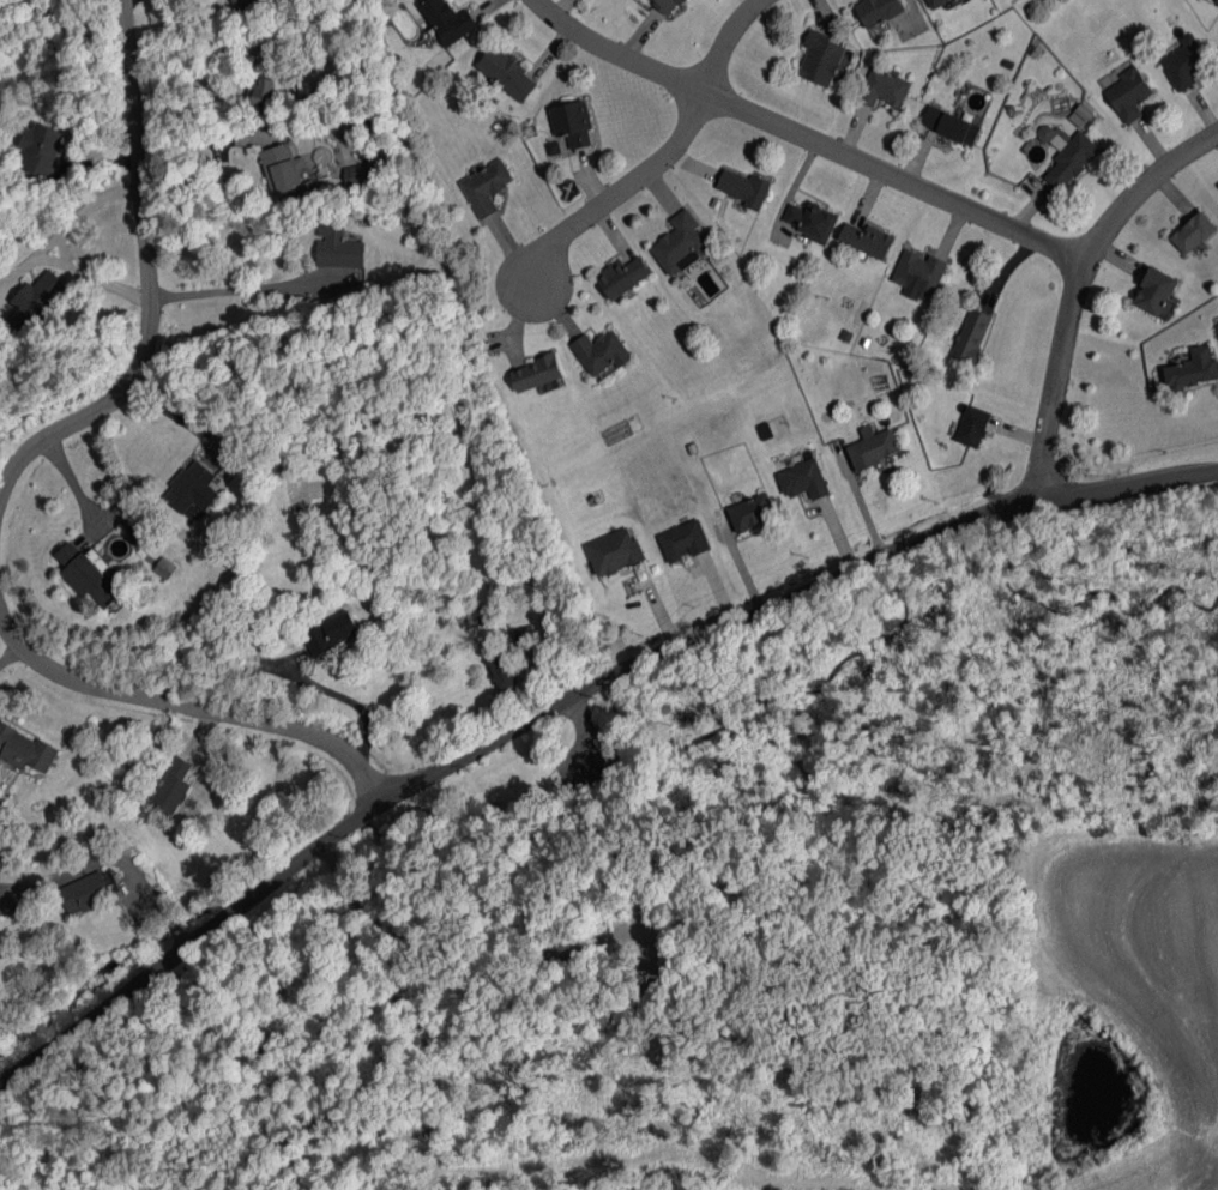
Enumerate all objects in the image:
building: (1216, 1)
building: (936, 2)
building: (668, 5)
building: (248, 6)
building: (879, 11)
building: (448, 20)
building: (821, 58)
building: (1184, 62)
building: (507, 73)
road: (187, 80)
building: (884, 87)
building: (261, 92)
building: (1128, 93)
building: (1080, 115)
building: (572, 122)
building: (951, 125)
road: (810, 137)
road: (199, 141)
building: (41, 149)
building: (1067, 155)
road: (653, 165)
building: (283, 171)
building: (363, 174)
building: (487, 187)
building: (744, 187)
building: (810, 221)
building: (1193, 232)
building: (868, 240)
building: (680, 243)
road: (76, 244)
building: (338, 247)
building: (918, 273)
building: (622, 276)
road: (149, 278)
road: (233, 291)
building: (1154, 291)
road: (1079, 292)
building: (35, 302)
building: (971, 336)
building: (601, 351)
building: (1193, 368)
building: (538, 372)
building: (973, 425)
building: (873, 447)
building: (803, 479)
building: (193, 488)
building: (753, 512)
building: (685, 540)
building: (614, 551)
building: (165, 567)
building: (89, 573)
building: (331, 633)
building: (500, 669)
road: (569, 697)
road: (349, 701)
road: (192, 705)
road: (200, 731)
building: (25, 749)
building: (596, 775)
building: (171, 789)
building: (85, 893)
road: (474, 954)
building: (664, 955)

